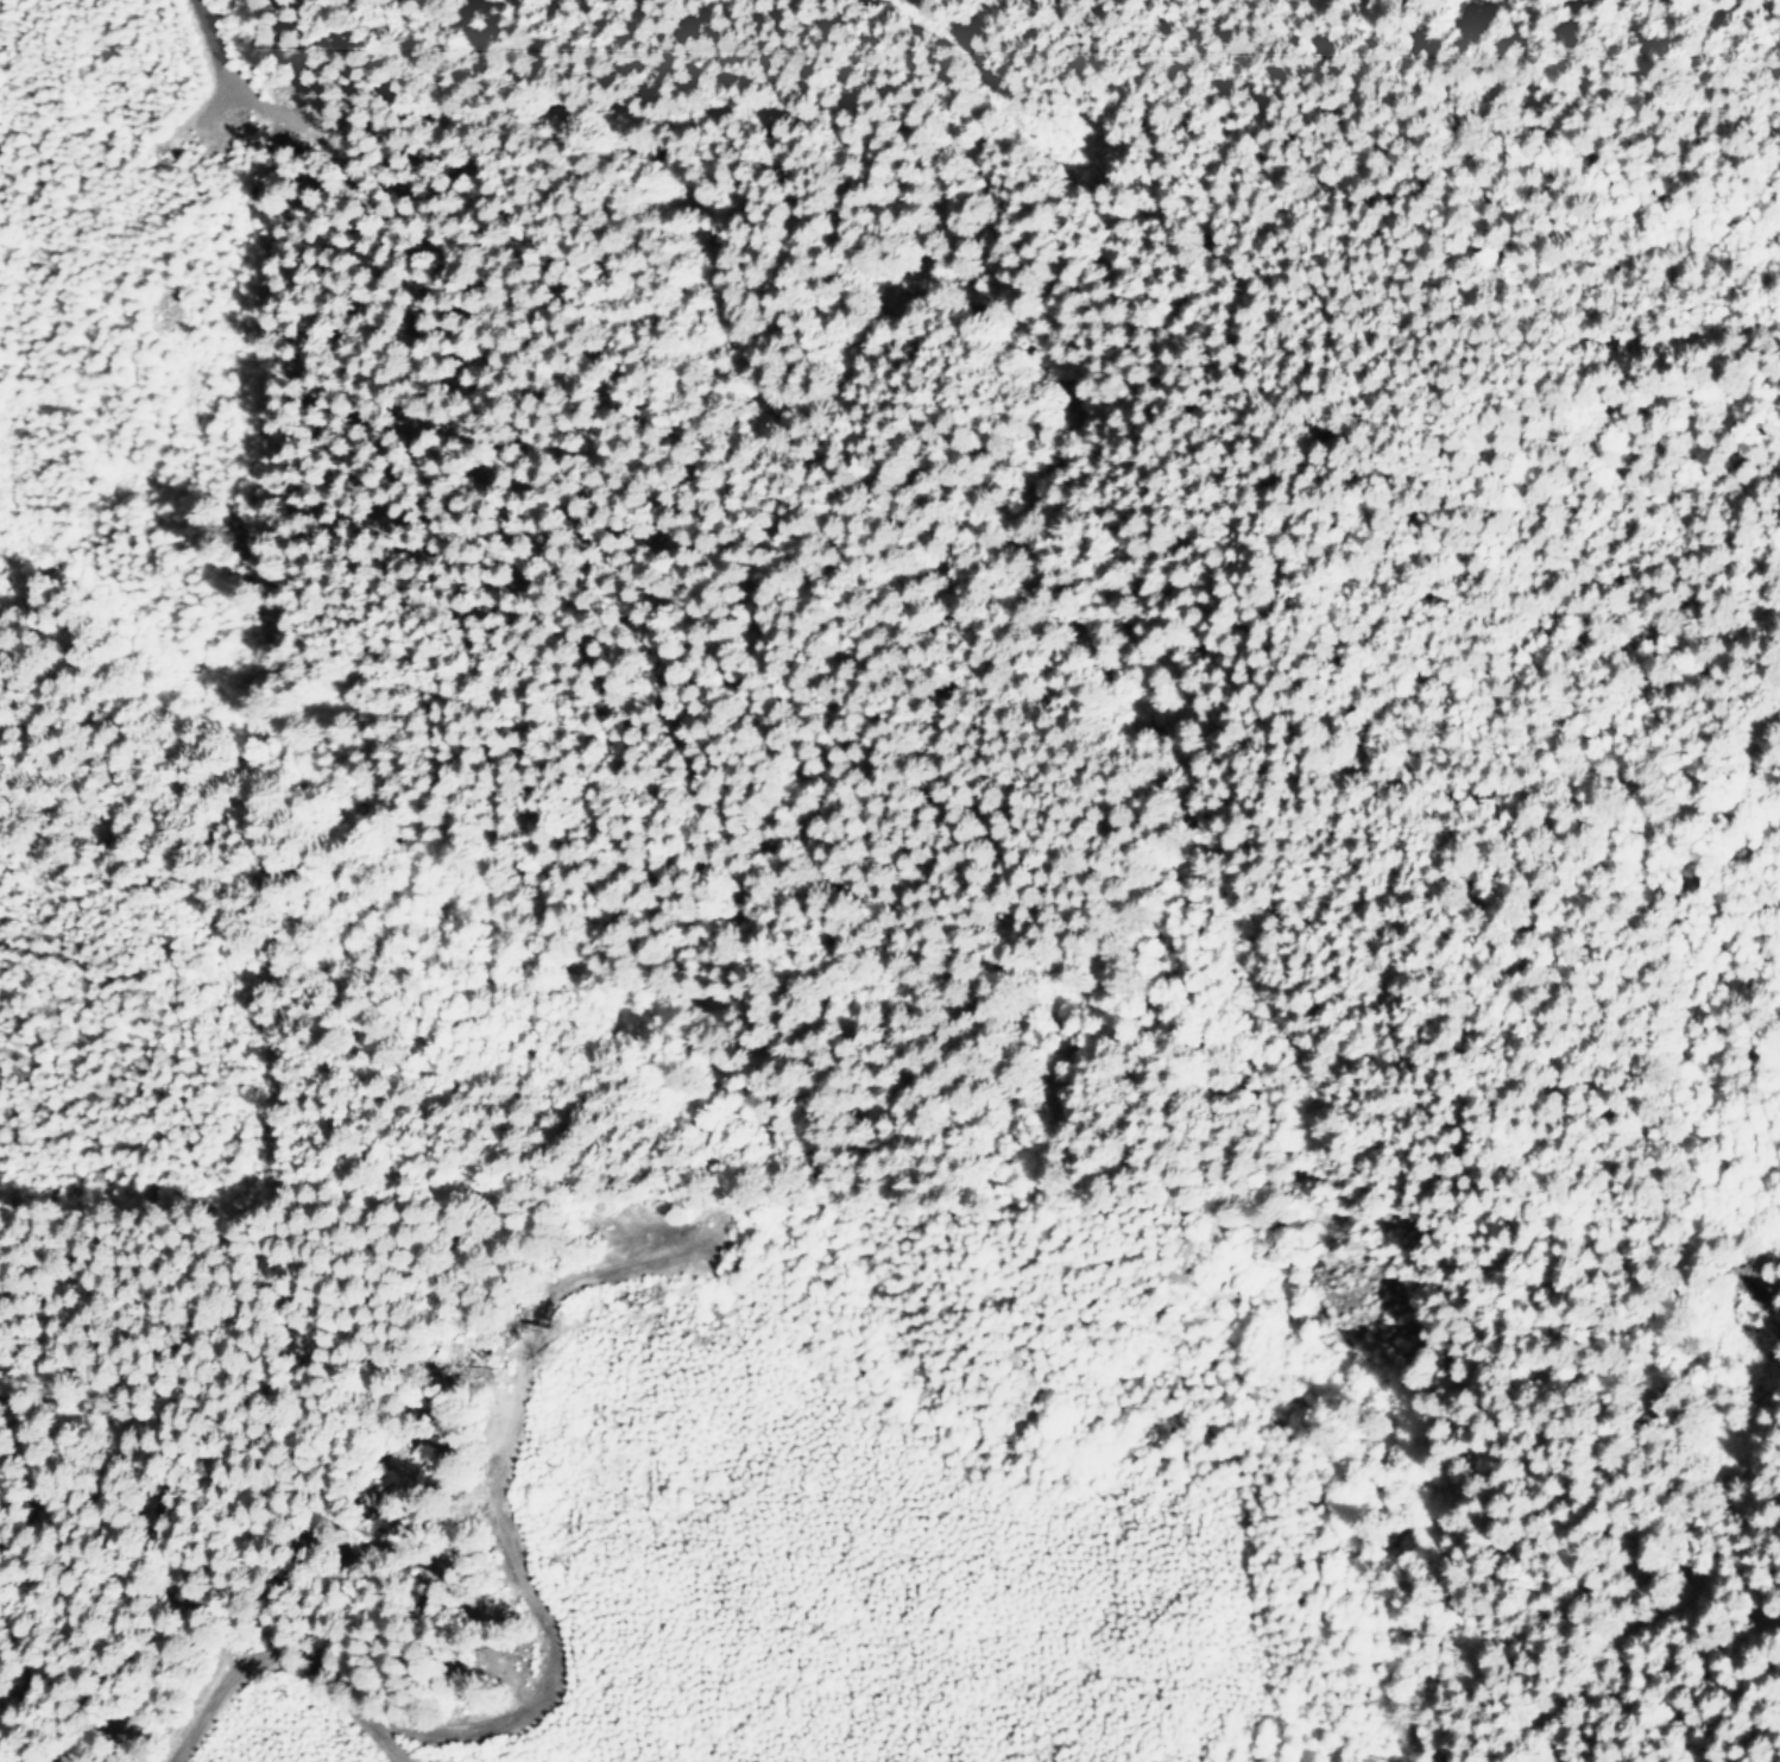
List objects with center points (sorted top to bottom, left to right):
road: (554, 1646)

